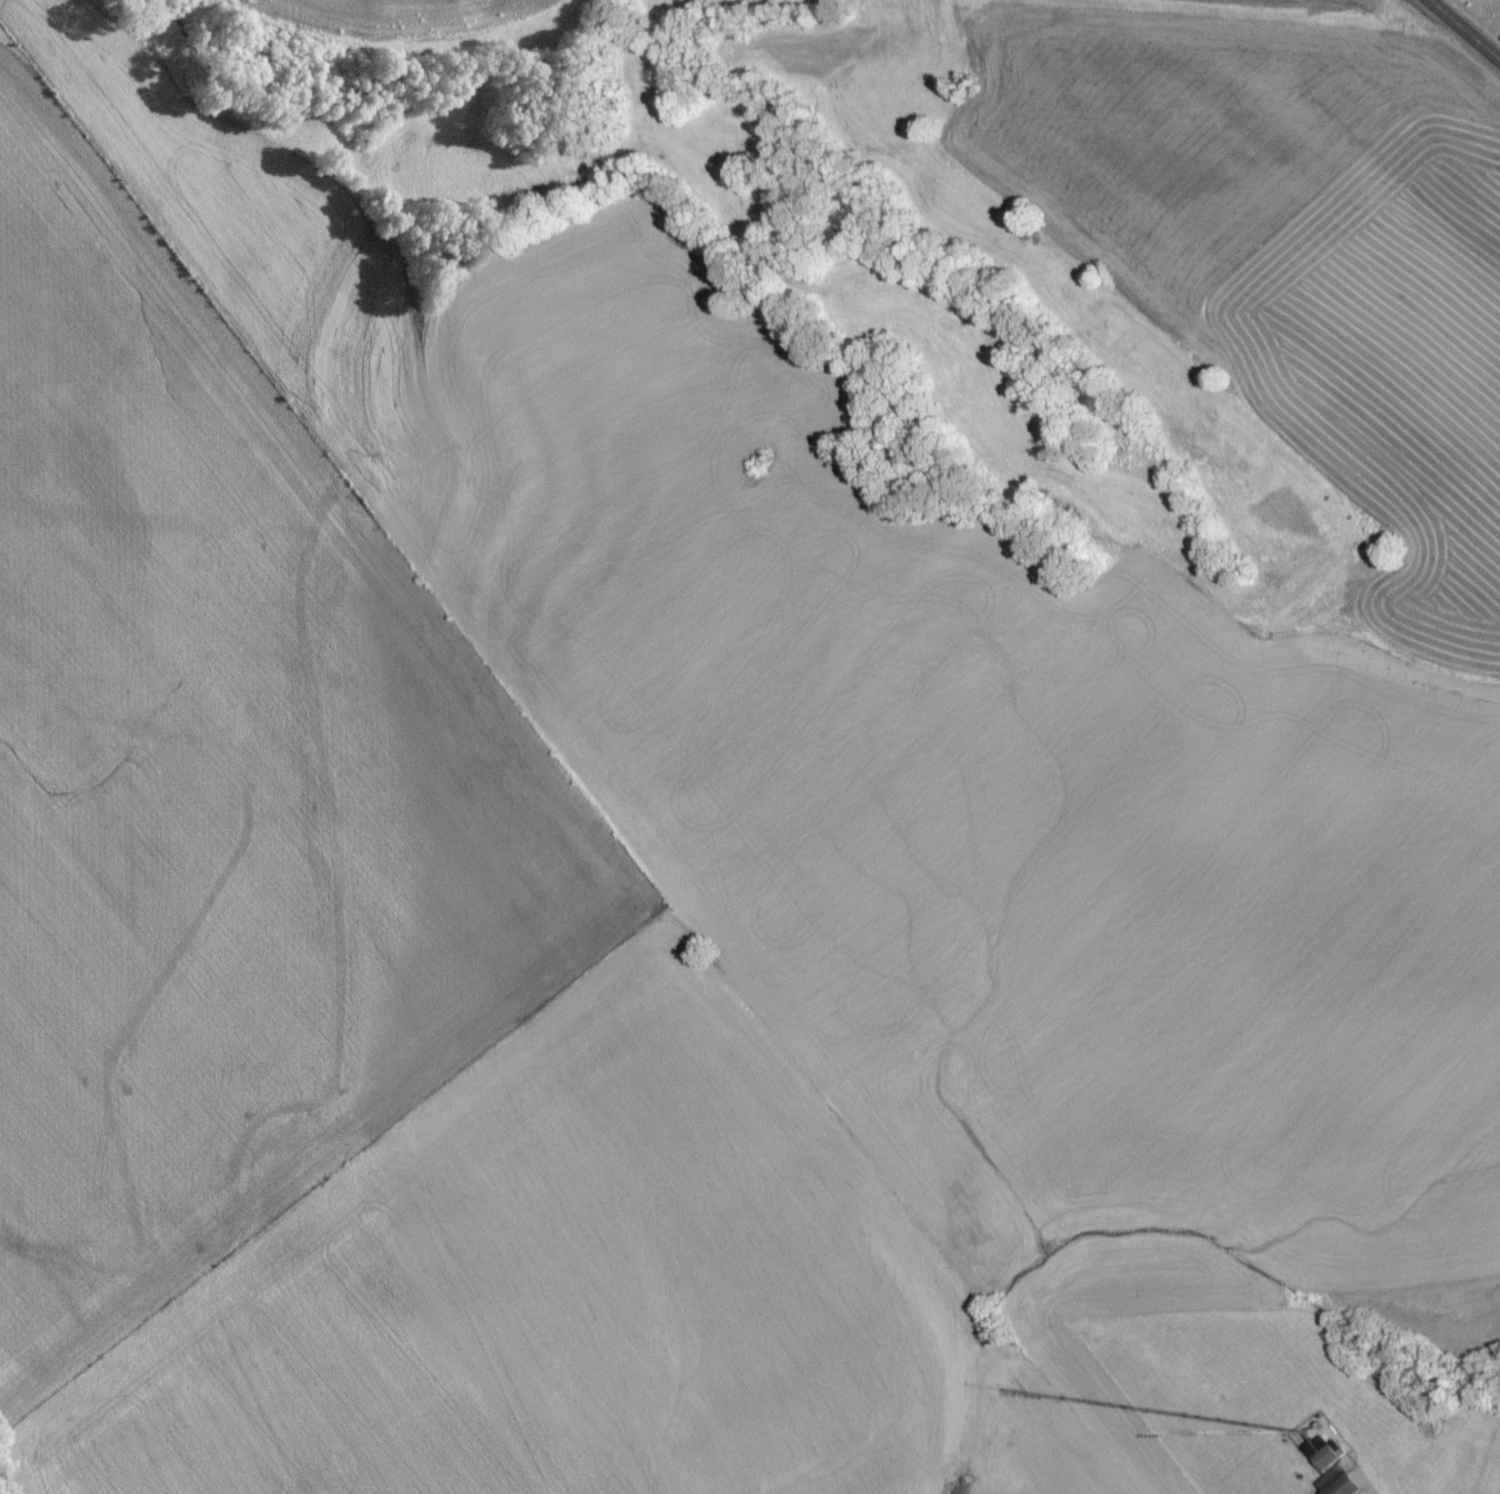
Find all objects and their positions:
road: (1461, 33)
building: (1324, 1464)
building: (1342, 1487)

